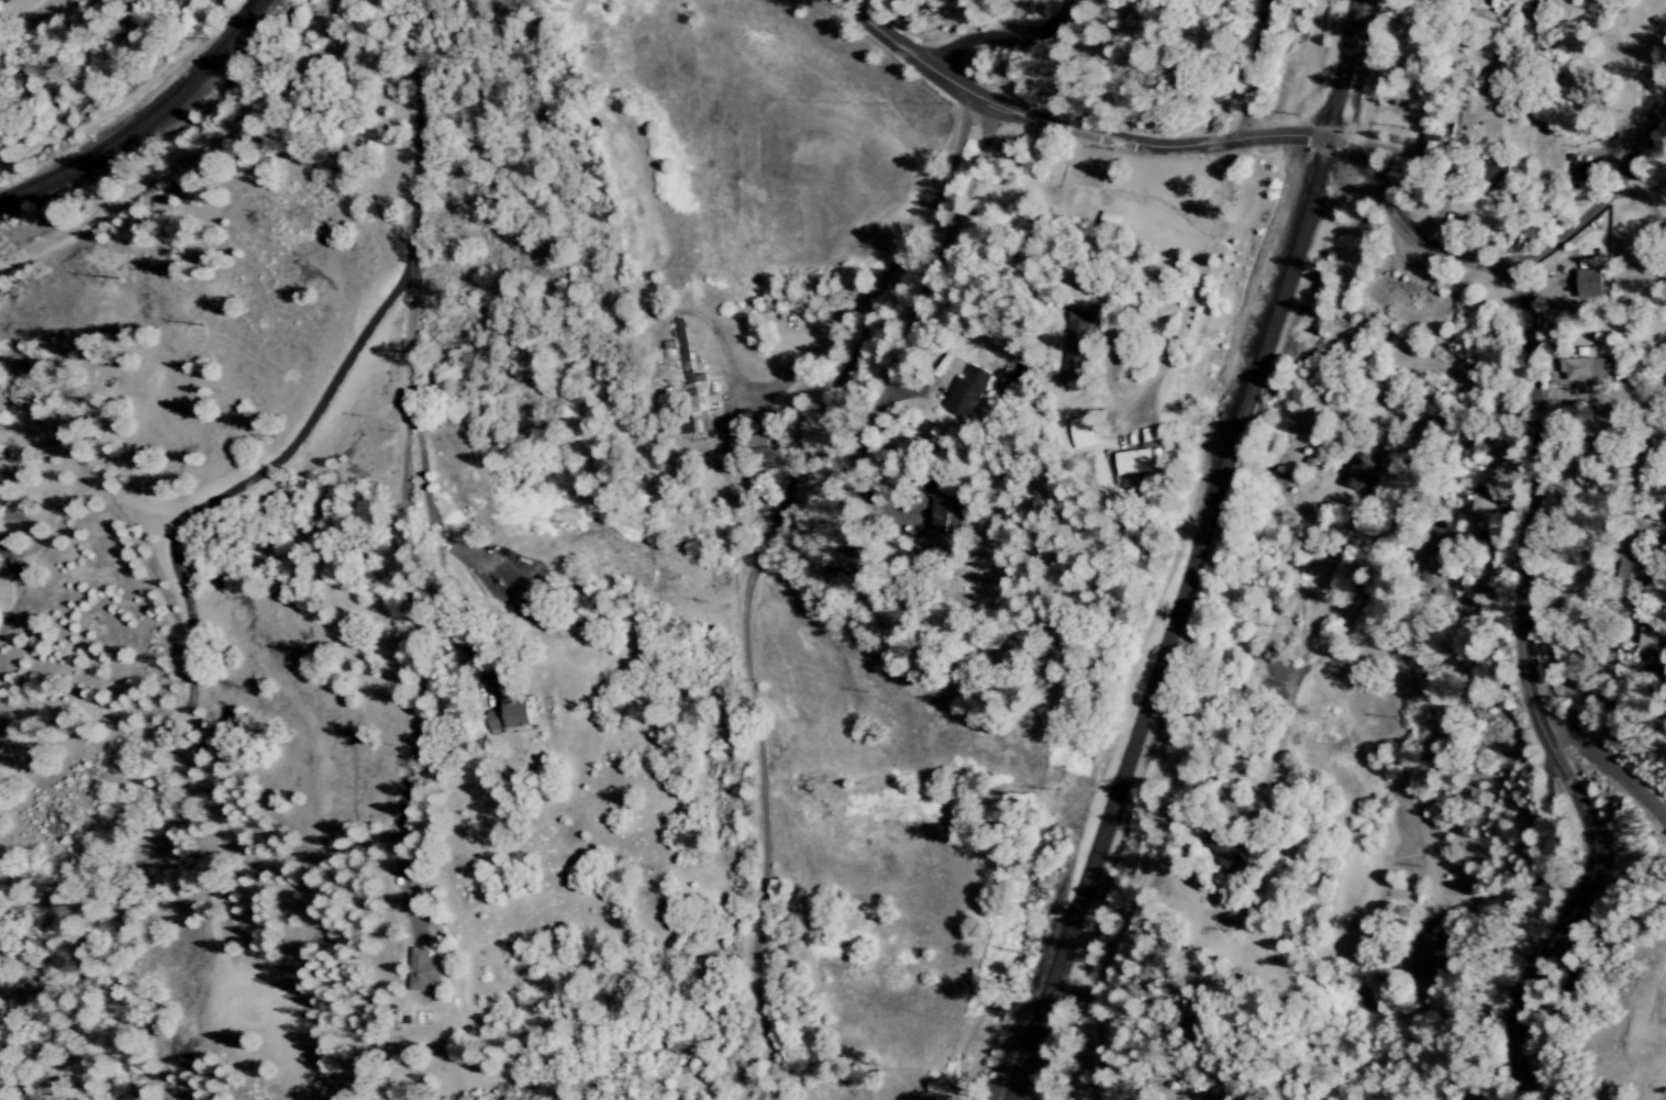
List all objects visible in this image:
road: (26, 14)
road: (1002, 36)
road: (1248, 69)
road: (121, 99)
railway: (147, 122)
road: (1663, 129)
building: (1431, 146)
road: (190, 154)
road: (1593, 207)
building: (1110, 224)
road: (408, 275)
building: (1590, 285)
road: (1529, 321)
building: (1079, 343)
road: (1112, 347)
road: (865, 365)
building: (1585, 366)
road: (806, 378)
building: (691, 387)
building: (971, 390)
building: (663, 399)
building: (1080, 432)
building: (1135, 462)
building: (1359, 473)
building: (4, 496)
road: (996, 498)
building: (1486, 499)
road: (1417, 504)
building: (954, 510)
railway: (1198, 554)
building: (1430, 560)
road: (1203, 635)
building: (1643, 640)
road: (1567, 680)
building: (512, 715)
road: (1611, 773)
building: (1225, 852)
road: (725, 888)
building: (1425, 959)
building: (423, 973)

